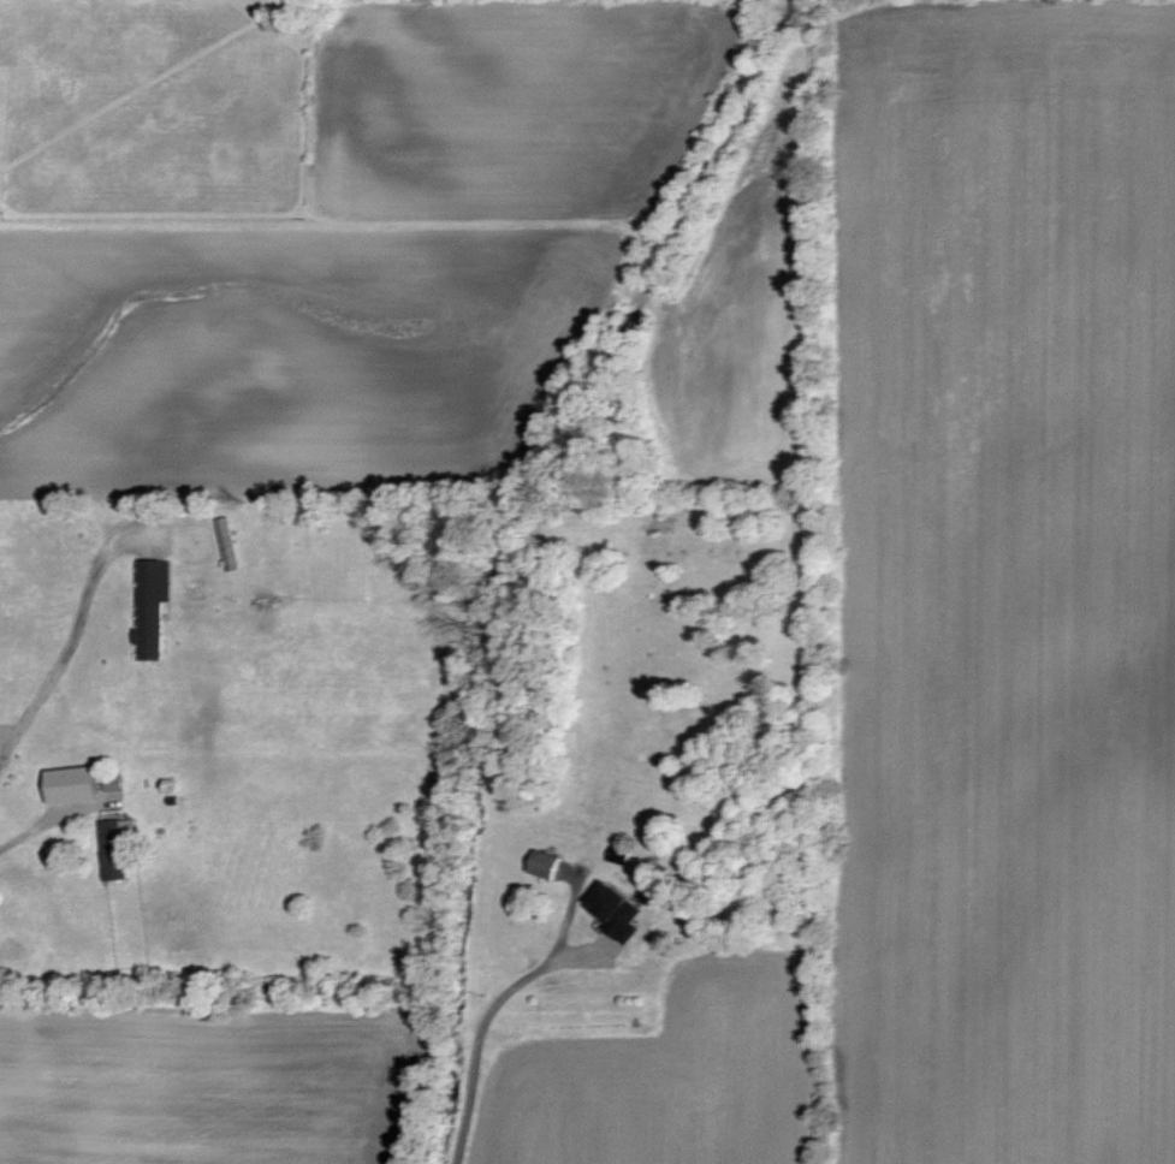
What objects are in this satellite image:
building: (158, 607)
road: (75, 637)
building: (82, 785)
road: (46, 822)
building: (121, 848)
building: (553, 866)
building: (623, 913)
road: (477, 1045)

